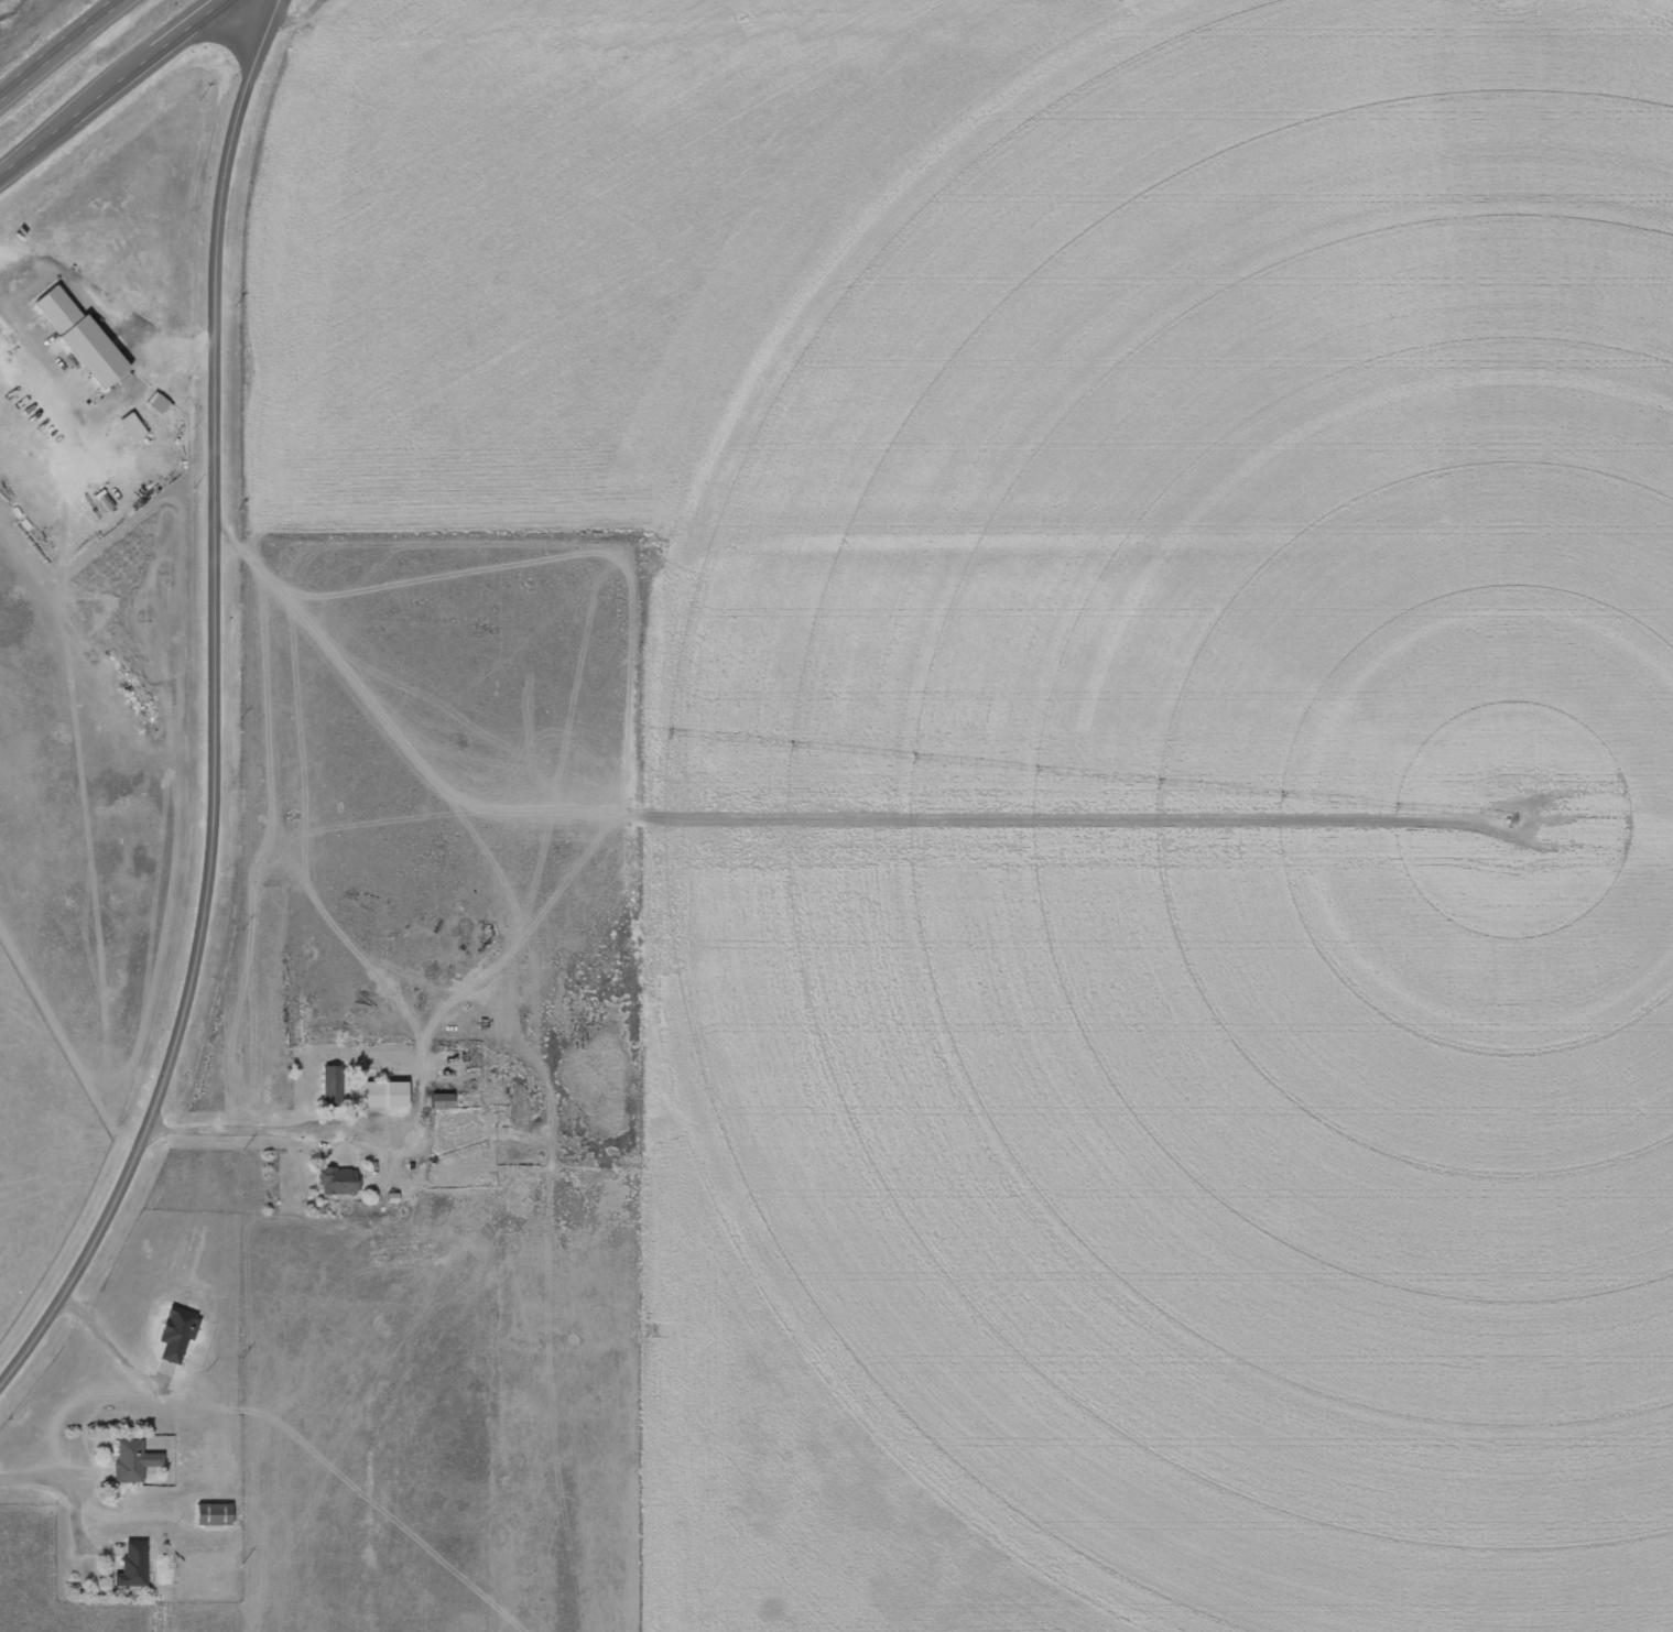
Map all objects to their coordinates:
road: (59, 50)
road: (110, 85)
building: (82, 325)
building: (131, 426)
road: (218, 427)
building: (330, 1084)
building: (381, 1094)
building: (442, 1100)
road: (143, 1140)
building: (338, 1179)
building: (176, 1331)
building: (132, 1459)
building: (213, 1513)
building: (132, 1564)

